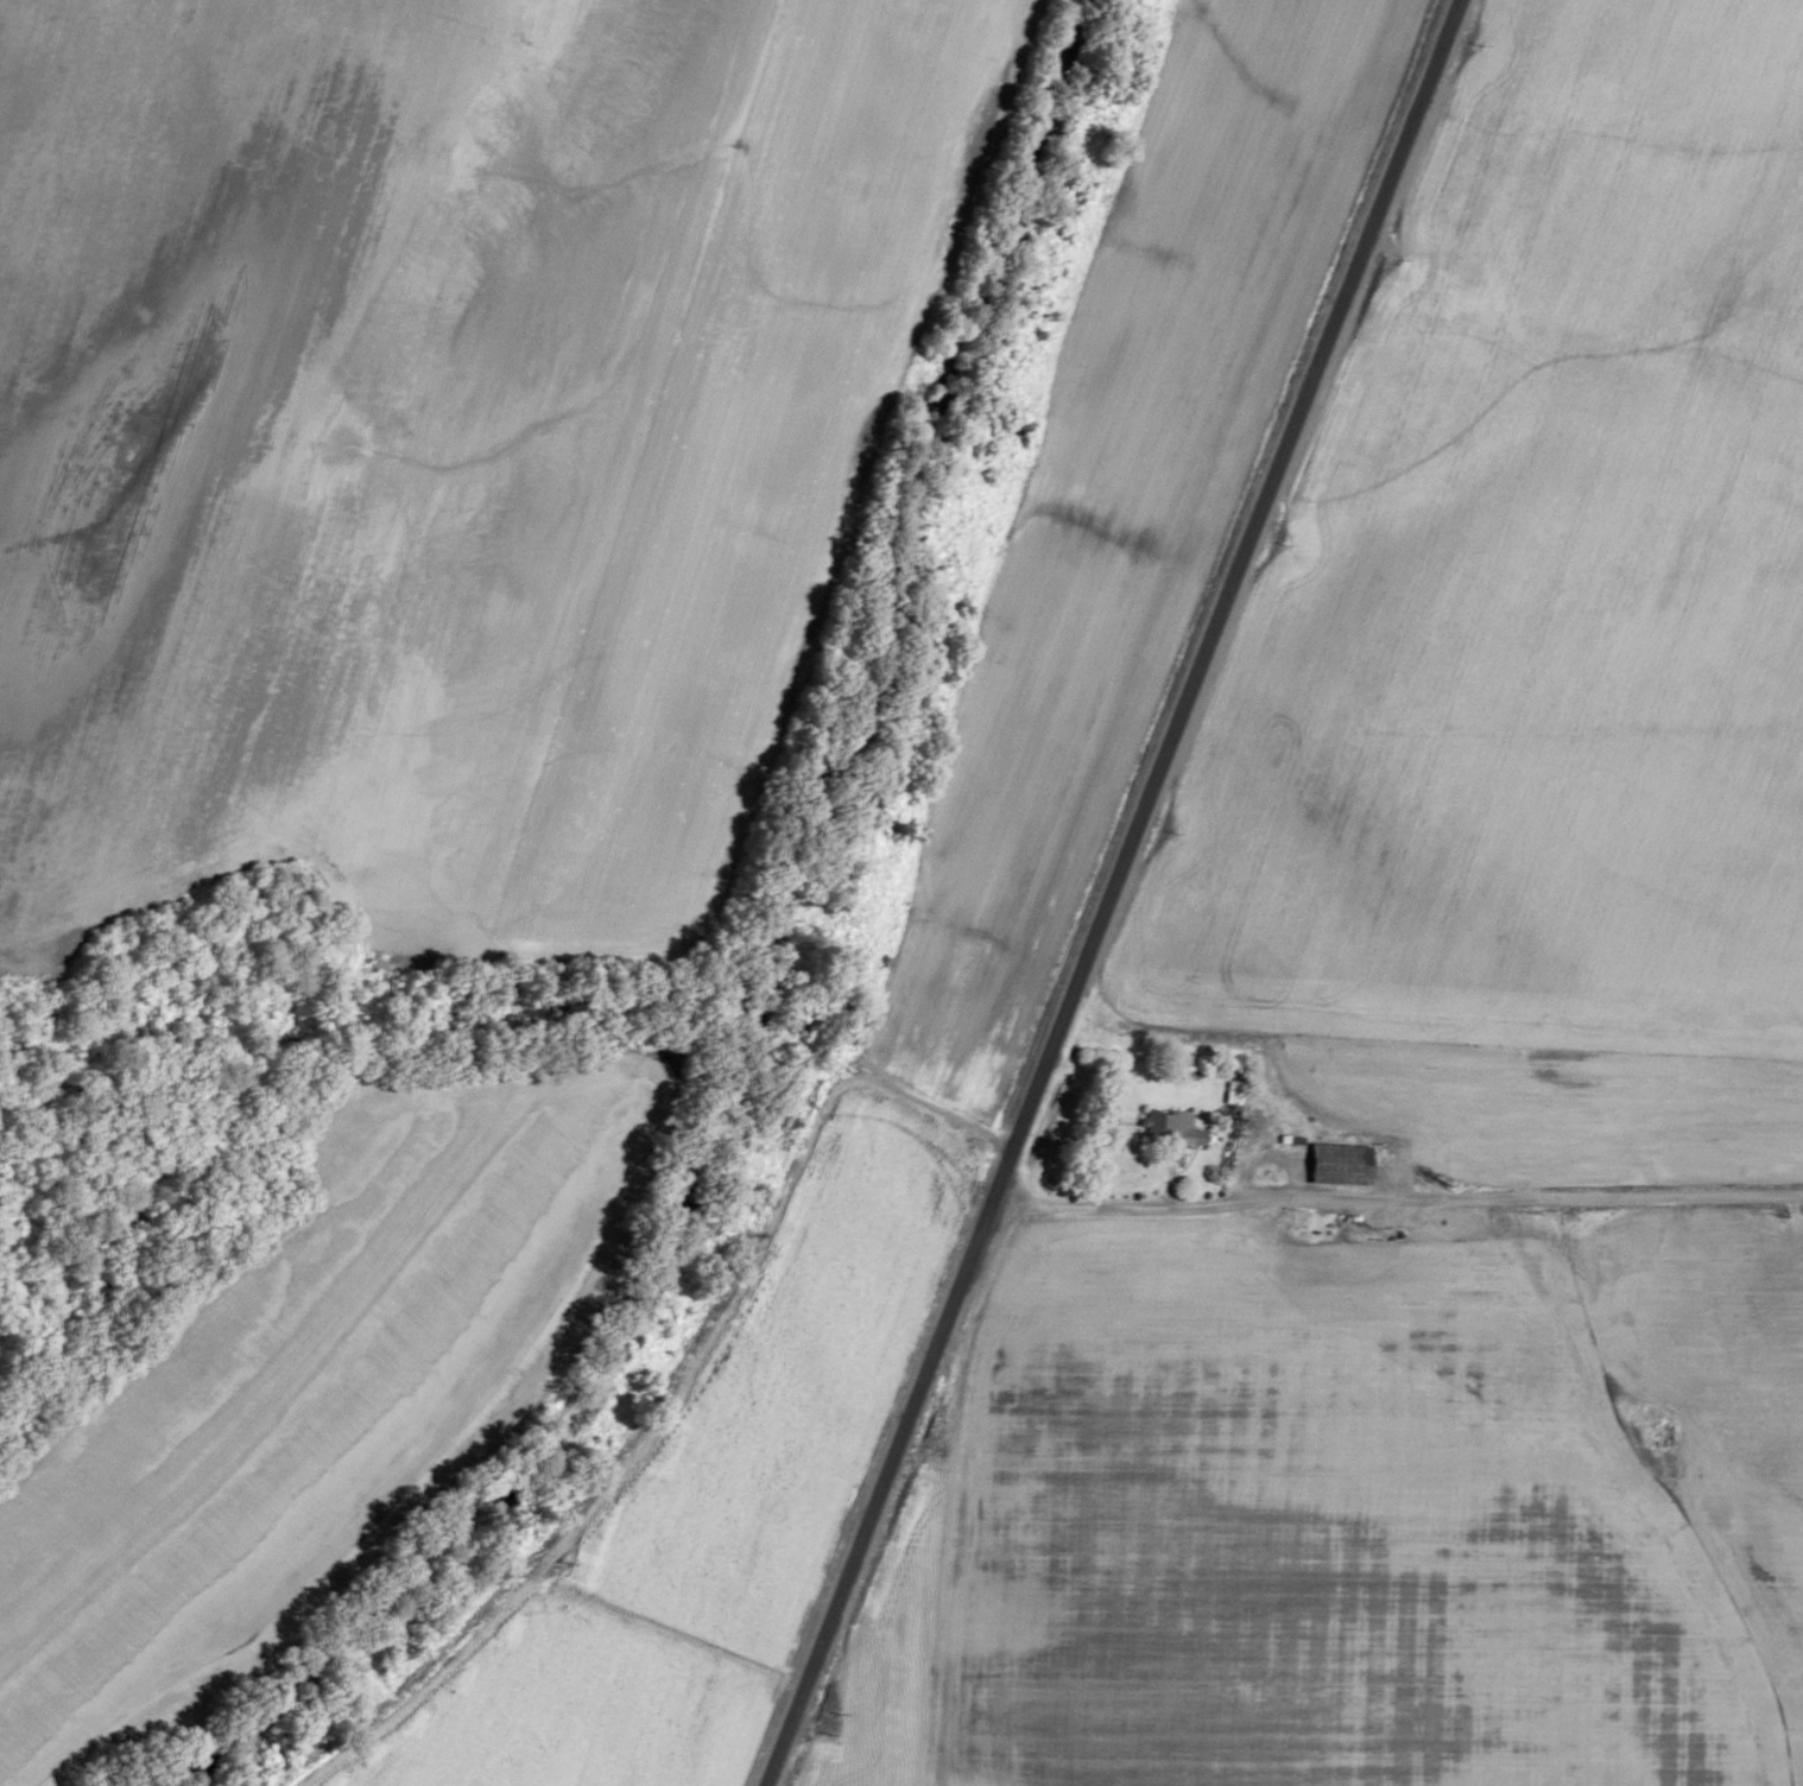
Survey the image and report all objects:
road: (1128, 872)
building: (1170, 1132)
building: (1336, 1164)
road: (1415, 1183)
road: (1798, 1215)
road: (954, 1546)
road: (783, 1760)

